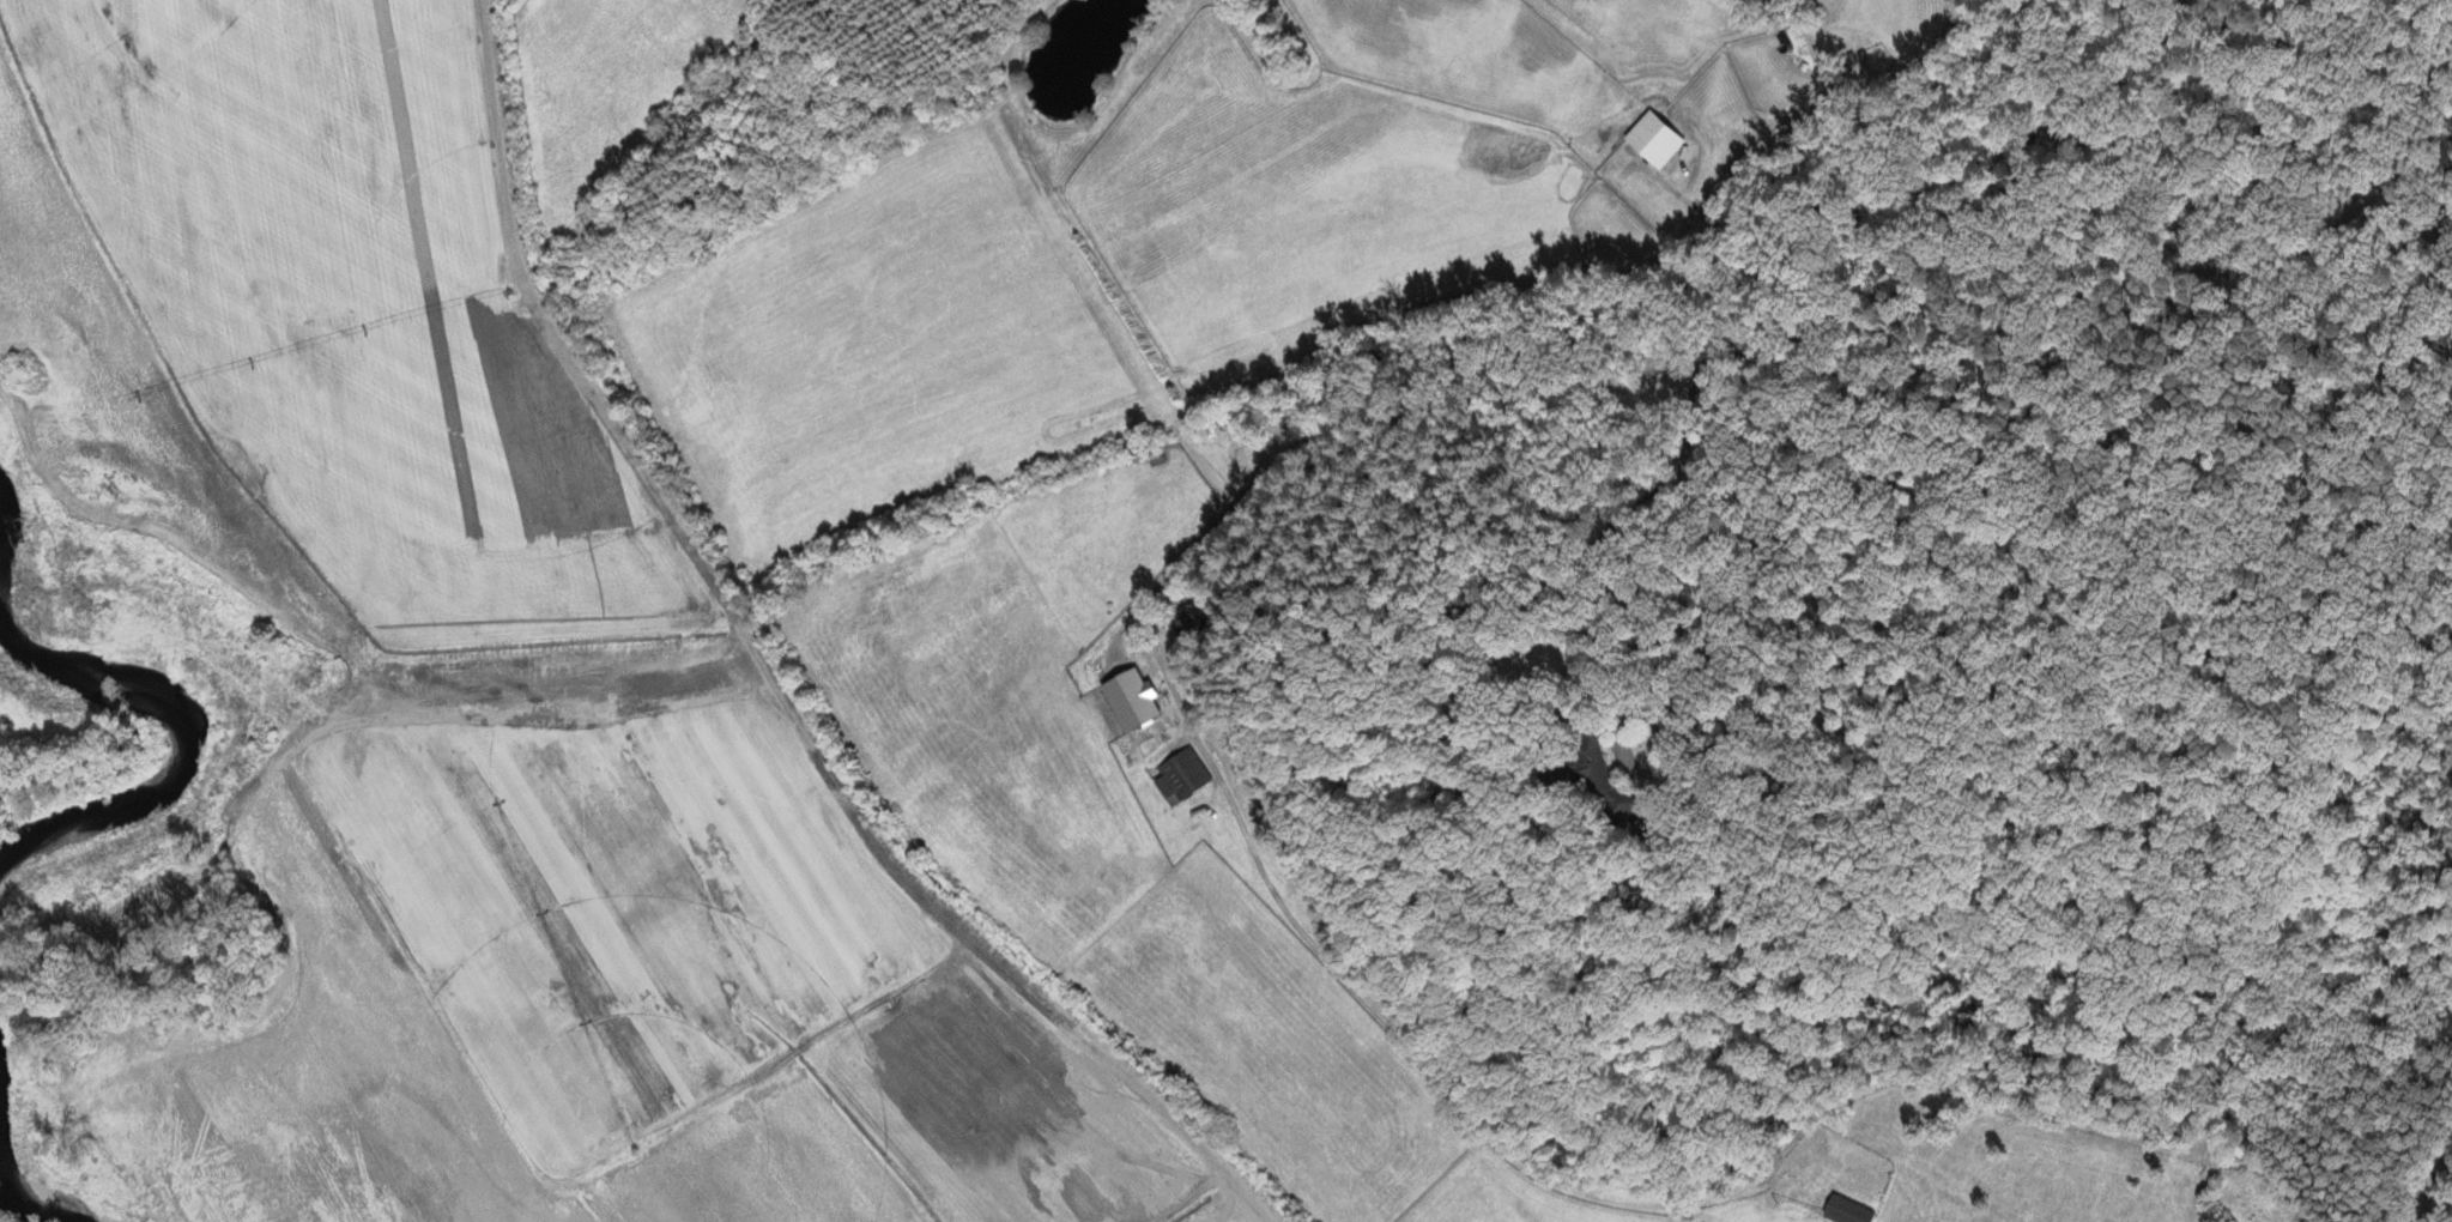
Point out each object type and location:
road: (1691, 359)
road: (1210, 473)
road: (1661, 660)
river: (186, 746)
river: (7, 1174)
road: (2432, 1180)
building: (1843, 1212)

